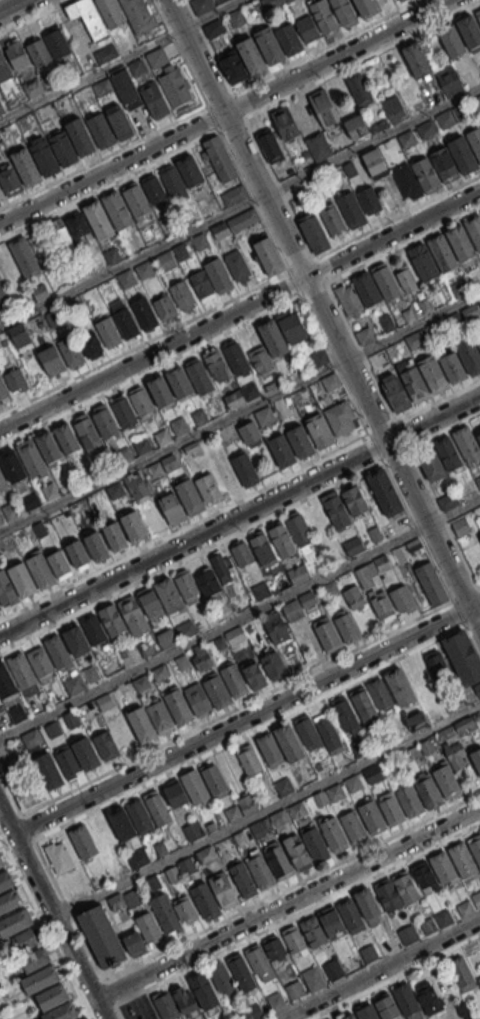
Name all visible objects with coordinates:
building: (401, 0)
building: (272, 3)
road: (10, 5)
building: (201, 6)
building: (368, 8)
building: (110, 13)
building: (344, 13)
building: (138, 15)
road: (36, 17)
building: (87, 18)
building: (236, 18)
building: (316, 23)
building: (214, 28)
building: (471, 30)
building: (271, 43)
building: (57, 45)
road: (208, 46)
road: (180, 52)
building: (251, 52)
road: (311, 52)
building: (38, 54)
building: (106, 54)
building: (16, 56)
building: (157, 58)
road: (120, 60)
building: (416, 60)
building: (232, 67)
building: (137, 68)
building: (5, 74)
building: (449, 80)
building: (175, 86)
building: (102, 88)
building: (127, 88)
building: (358, 90)
road: (292, 94)
building: (83, 97)
building: (156, 99)
building: (476, 103)
building: (325, 109)
building: (394, 109)
road: (224, 112)
building: (119, 122)
building: (285, 122)
building: (360, 127)
building: (102, 129)
building: (426, 129)
building: (81, 135)
building: (407, 139)
building: (318, 146)
building: (270, 147)
road: (180, 148)
road: (115, 150)
building: (464, 153)
building: (46, 155)
building: (219, 158)
building: (375, 162)
building: (27, 165)
building: (190, 170)
building: (427, 174)
building: (9, 179)
building: (408, 181)
building: (173, 183)
building: (154, 190)
building: (2, 193)
building: (234, 195)
building: (369, 200)
building: (136, 201)
road: (239, 205)
building: (352, 209)
building: (108, 215)
building: (332, 219)
road: (384, 222)
building: (78, 225)
building: (474, 228)
building: (313, 232)
building: (60, 234)
building: (461, 241)
building: (200, 242)
building: (444, 252)
building: (267, 255)
building: (24, 257)
building: (424, 261)
building: (239, 266)
road: (332, 279)
building: (210, 280)
building: (387, 281)
building: (407, 281)
building: (368, 289)
building: (2, 295)
building: (182, 295)
building: (351, 300)
building: (165, 307)
building: (424, 307)
road: (240, 311)
road: (324, 312)
building: (146, 314)
building: (387, 322)
building: (127, 323)
building: (293, 327)
building: (109, 332)
building: (19, 335)
building: (364, 335)
road: (157, 337)
road: (220, 337)
building: (274, 337)
building: (479, 339)
building: (414, 340)
building: (90, 344)
building: (72, 351)
building: (238, 358)
building: (319, 358)
building: (377, 359)
building: (53, 360)
building: (260, 360)
building: (217, 364)
building: (452, 368)
building: (201, 377)
building: (422, 378)
building: (16, 380)
building: (181, 381)
building: (4, 389)
building: (162, 391)
building: (395, 392)
building: (141, 402)
road: (426, 409)
building: (125, 412)
road: (239, 412)
building: (265, 416)
building: (341, 418)
building: (106, 421)
building: (319, 431)
building: (86, 432)
building: (249, 433)
building: (478, 435)
building: (68, 437)
building: (300, 441)
building: (466, 444)
building: (50, 447)
building: (281, 450)
building: (33, 457)
building: (438, 458)
building: (15, 466)
building: (244, 469)
building: (2, 482)
road: (426, 483)
building: (138, 487)
building: (210, 489)
building: (115, 491)
building: (384, 492)
building: (192, 499)
building: (354, 500)
building: (447, 501)
building: (174, 508)
building: (337, 510)
road: (240, 518)
road: (262, 521)
road: (198, 522)
building: (134, 526)
building: (462, 526)
building: (300, 530)
building: (116, 535)
building: (479, 537)
building: (283, 539)
building: (98, 545)
building: (353, 545)
building: (264, 548)
building: (79, 554)
building: (241, 554)
building: (61, 564)
building: (223, 566)
building: (43, 570)
building: (298, 574)
building: (24, 579)
building: (207, 582)
building: (431, 583)
building: (187, 587)
road: (479, 588)
building: (331, 589)
building: (260, 591)
building: (169, 593)
building: (354, 597)
building: (402, 599)
building: (151, 602)
building: (381, 605)
building: (0, 607)
building: (292, 610)
building: (133, 613)
building: (113, 619)
road: (239, 620)
building: (346, 626)
building: (95, 629)
building: (276, 630)
building: (326, 634)
building: (77, 640)
building: (59, 652)
building: (462, 657)
building: (42, 663)
building: (273, 665)
building: (24, 673)
building: (440, 676)
building: (254, 677)
building: (235, 681)
building: (7, 683)
building: (401, 687)
building: (218, 691)
building: (381, 694)
building: (199, 699)
building: (364, 703)
building: (179, 708)
road: (236, 709)
building: (347, 715)
road: (247, 718)
building: (421, 718)
building: (143, 724)
building: (328, 730)
building: (307, 732)
building: (30, 739)
building: (290, 743)
building: (107, 745)
building: (271, 750)
building: (87, 753)
building: (456, 756)
building: (476, 759)
road: (195, 760)
building: (250, 760)
building: (66, 762)
building: (50, 771)
building: (373, 774)
building: (215, 780)
building: (448, 782)
building: (354, 784)
building: (285, 786)
building: (196, 787)
building: (23, 789)
road: (11, 793)
building: (174, 793)
building: (336, 793)
building: (430, 793)
building: (410, 801)
building: (246, 804)
building: (158, 808)
building: (392, 809)
road: (266, 810)
building: (142, 816)
building: (373, 817)
building: (279, 819)
building: (122, 823)
building: (354, 827)
building: (195, 831)
building: (333, 834)
building: (84, 842)
building: (475, 847)
building: (306, 848)
building: (205, 855)
building: (60, 857)
building: (138, 858)
building: (464, 860)
building: (2, 862)
building: (280, 863)
building: (186, 866)
building: (444, 868)
building: (261, 872)
building: (426, 878)
building: (244, 880)
building: (6, 881)
building: (407, 887)
building: (224, 891)
road: (278, 892)
building: (477, 899)
building: (9, 901)
building: (207, 901)
road: (287, 904)
building: (466, 909)
road: (50, 912)
building: (168, 914)
road: (289, 918)
building: (445, 919)
building: (14, 922)
building: (333, 922)
building: (427, 926)
road: (45, 927)
building: (148, 927)
building: (314, 933)
building: (410, 935)
building: (102, 936)
building: (26, 939)
building: (293, 940)
building: (134, 943)
building: (370, 954)
building: (34, 959)
building: (261, 963)
road: (381, 969)
building: (334, 970)
building: (242, 972)
building: (463, 974)
road: (394, 976)
building: (221, 978)
building: (40, 979)
building: (314, 979)
building: (479, 980)
building: (204, 988)
building: (296, 989)
building: (405, 998)
building: (429, 998)
building: (174, 1003)
building: (56, 1004)
building: (386, 1006)
building: (368, 1012)
building: (346, 1016)
building: (84, 1018)
building: (330, 1018)

